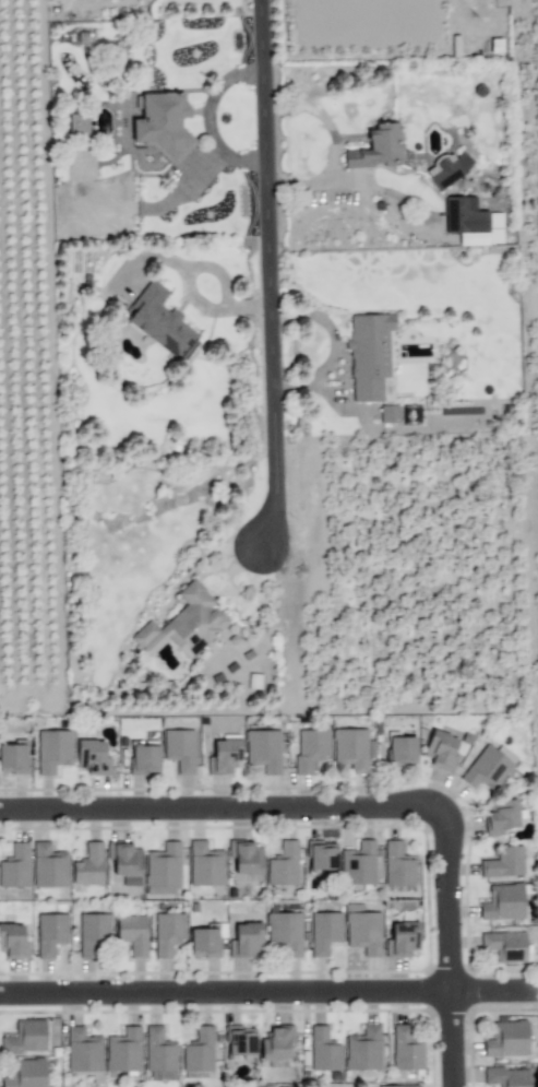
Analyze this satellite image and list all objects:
building: (79, 122)
building: (164, 125)
building: (376, 147)
building: (447, 168)
building: (473, 222)
road: (270, 275)
building: (159, 320)
building: (369, 354)
building: (388, 413)
building: (411, 414)
building: (184, 625)
building: (254, 681)
road: (268, 709)
building: (351, 748)
building: (180, 749)
building: (263, 749)
building: (441, 749)
building: (53, 751)
building: (311, 751)
building: (402, 751)
building: (224, 756)
building: (14, 757)
building: (93, 757)
building: (144, 759)
building: (489, 767)
road: (200, 808)
building: (501, 816)
building: (322, 855)
building: (244, 856)
building: (125, 861)
building: (504, 862)
building: (359, 863)
building: (205, 864)
building: (284, 864)
building: (397, 864)
building: (49, 865)
building: (89, 865)
building: (15, 866)
building: (163, 870)
building: (503, 902)
road: (452, 926)
building: (363, 931)
building: (93, 932)
building: (168, 932)
building: (324, 932)
building: (50, 933)
building: (133, 933)
building: (284, 934)
building: (246, 937)
building: (402, 938)
building: (13, 942)
building: (204, 942)
building: (505, 945)
road: (268, 992)
building: (25, 1037)
building: (507, 1039)
building: (240, 1040)
building: (276, 1045)
building: (407, 1048)
building: (363, 1049)
building: (83, 1050)
building: (123, 1050)
building: (159, 1050)
building: (324, 1050)
building: (199, 1051)
building: (26, 1073)
building: (507, 1077)
building: (397, 1086)

